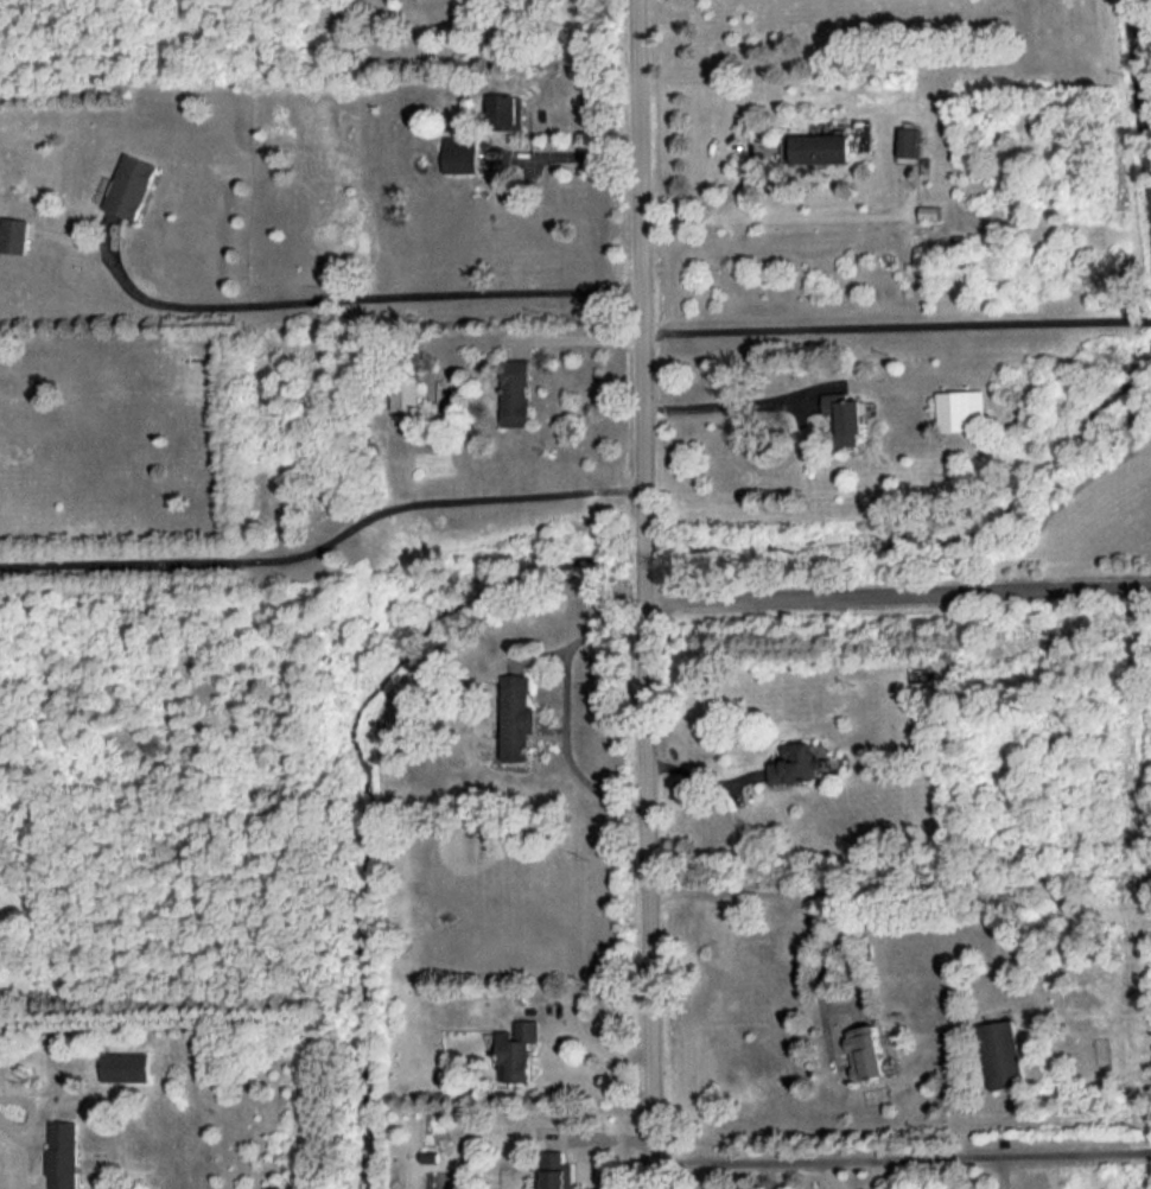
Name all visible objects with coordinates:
building: (508, 112)
building: (910, 144)
building: (816, 147)
road: (574, 151)
building: (462, 153)
building: (129, 185)
road: (713, 214)
road: (832, 216)
building: (13, 234)
road: (351, 294)
road: (895, 325)
road: (578, 338)
building: (516, 392)
building: (405, 393)
building: (445, 393)
road: (726, 399)
building: (961, 409)
building: (845, 415)
road: (325, 541)
road: (648, 593)
road: (899, 596)
road: (567, 710)
building: (520, 717)
building: (796, 763)
road: (705, 771)
road: (827, 895)
road: (866, 992)
road: (598, 1042)
building: (517, 1050)
building: (869, 1051)
building: (1005, 1054)
building: (126, 1066)
road: (7, 1124)
building: (63, 1155)
road: (902, 1155)
building: (558, 1170)

